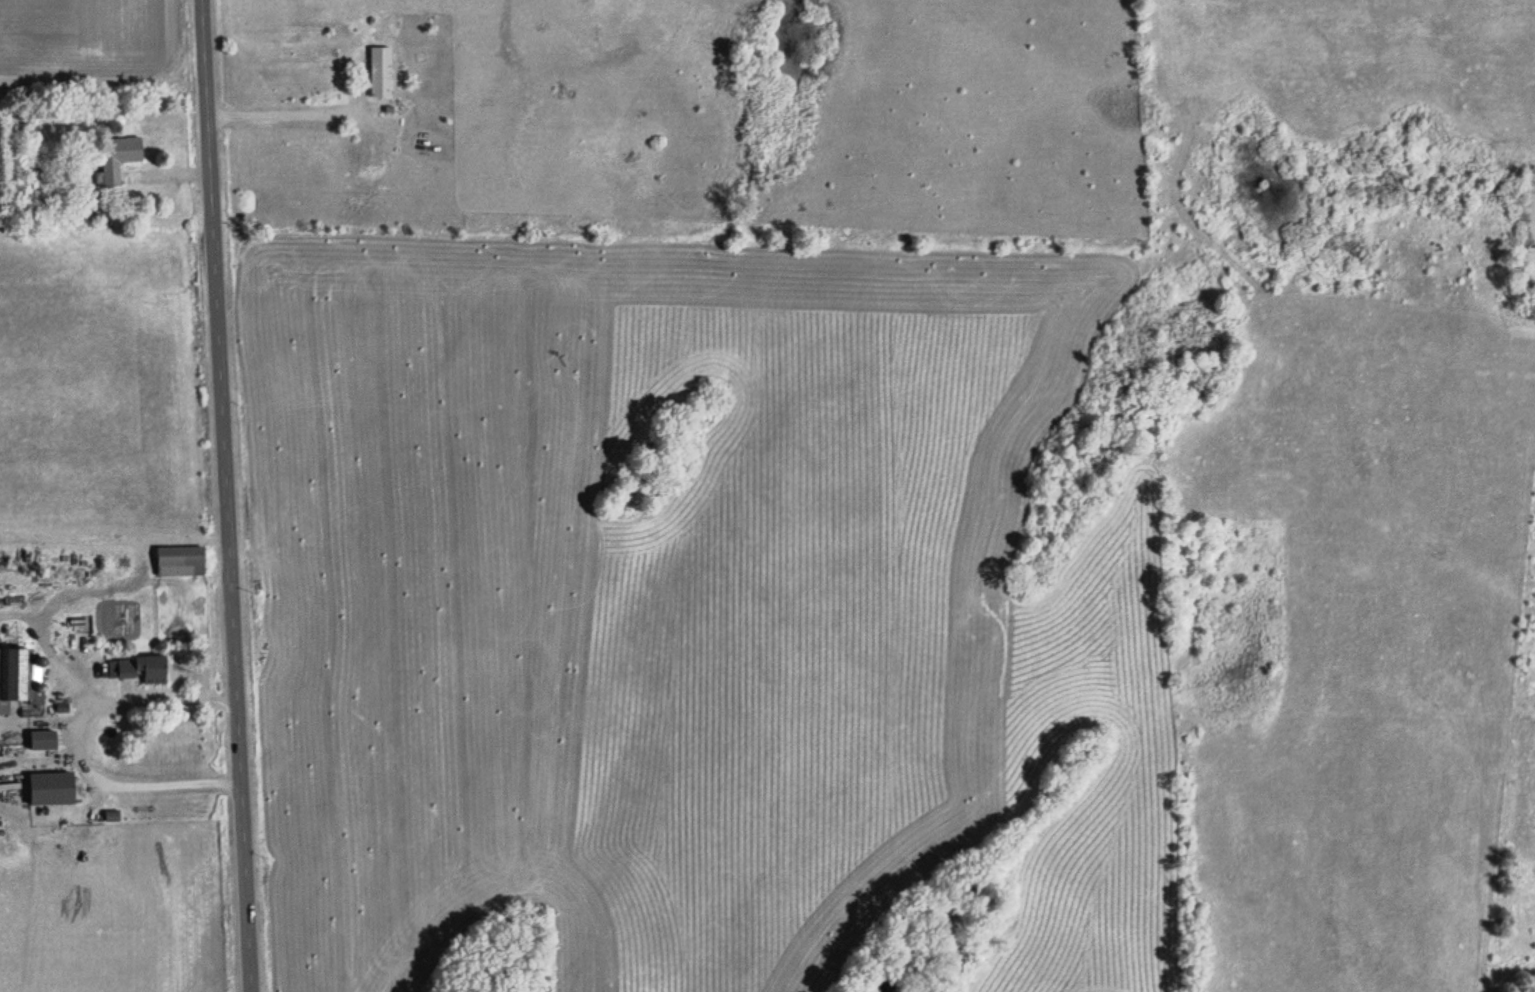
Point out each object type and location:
building: (382, 73)
building: (118, 158)
road: (222, 496)
building: (181, 562)
building: (138, 670)
building: (15, 677)
building: (44, 741)
building: (53, 789)

